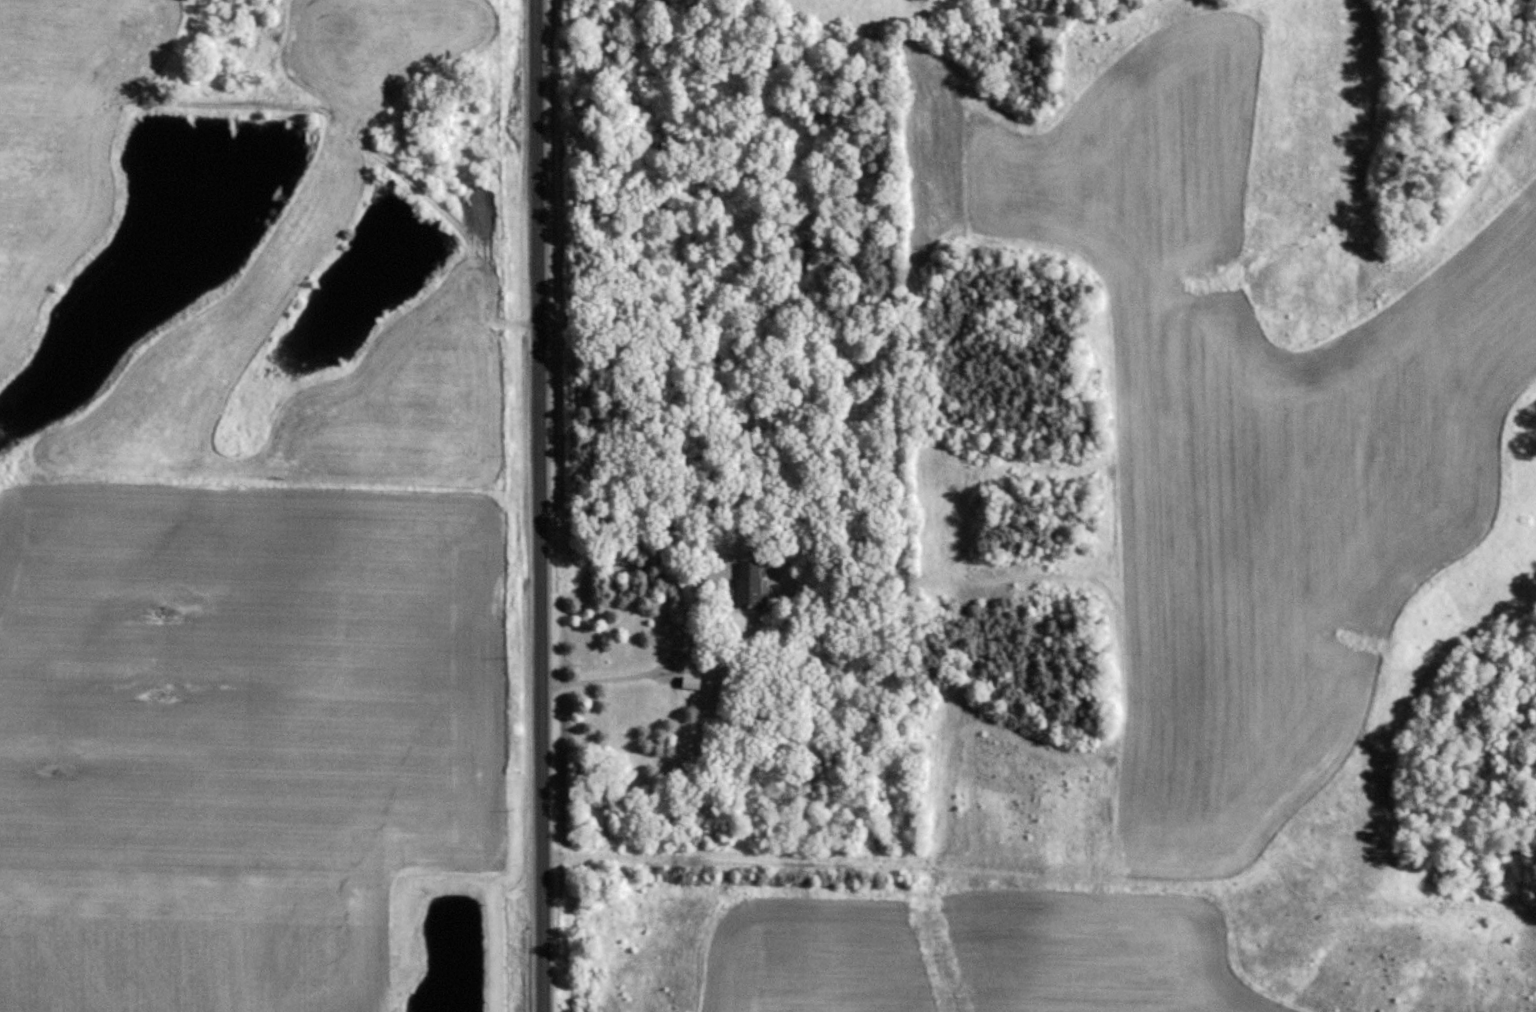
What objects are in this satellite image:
road: (541, 506)
building: (748, 582)
building: (690, 681)

